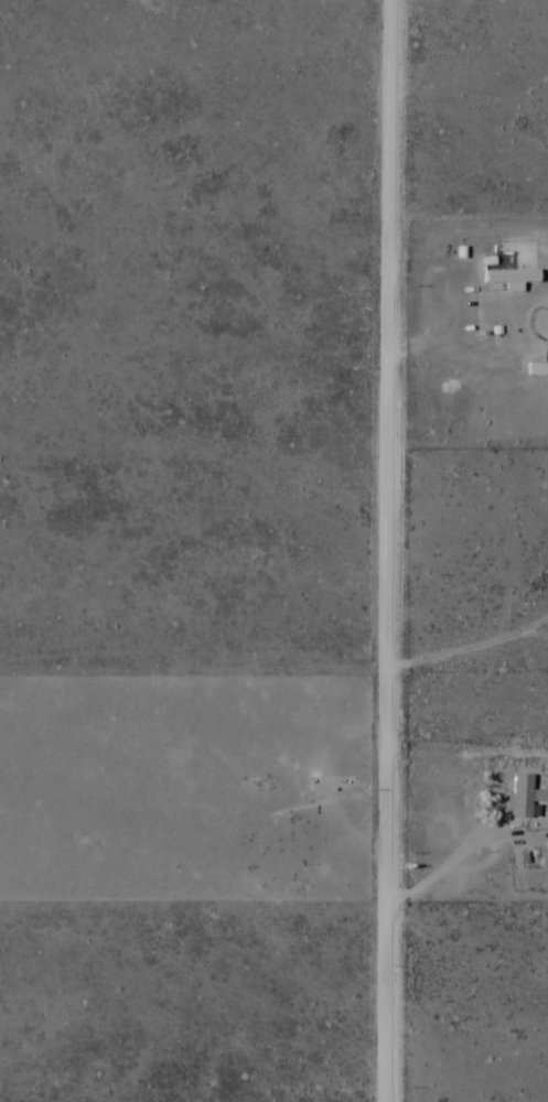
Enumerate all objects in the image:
building: (507, 277)
building: (533, 370)
road: (385, 551)
building: (522, 797)

